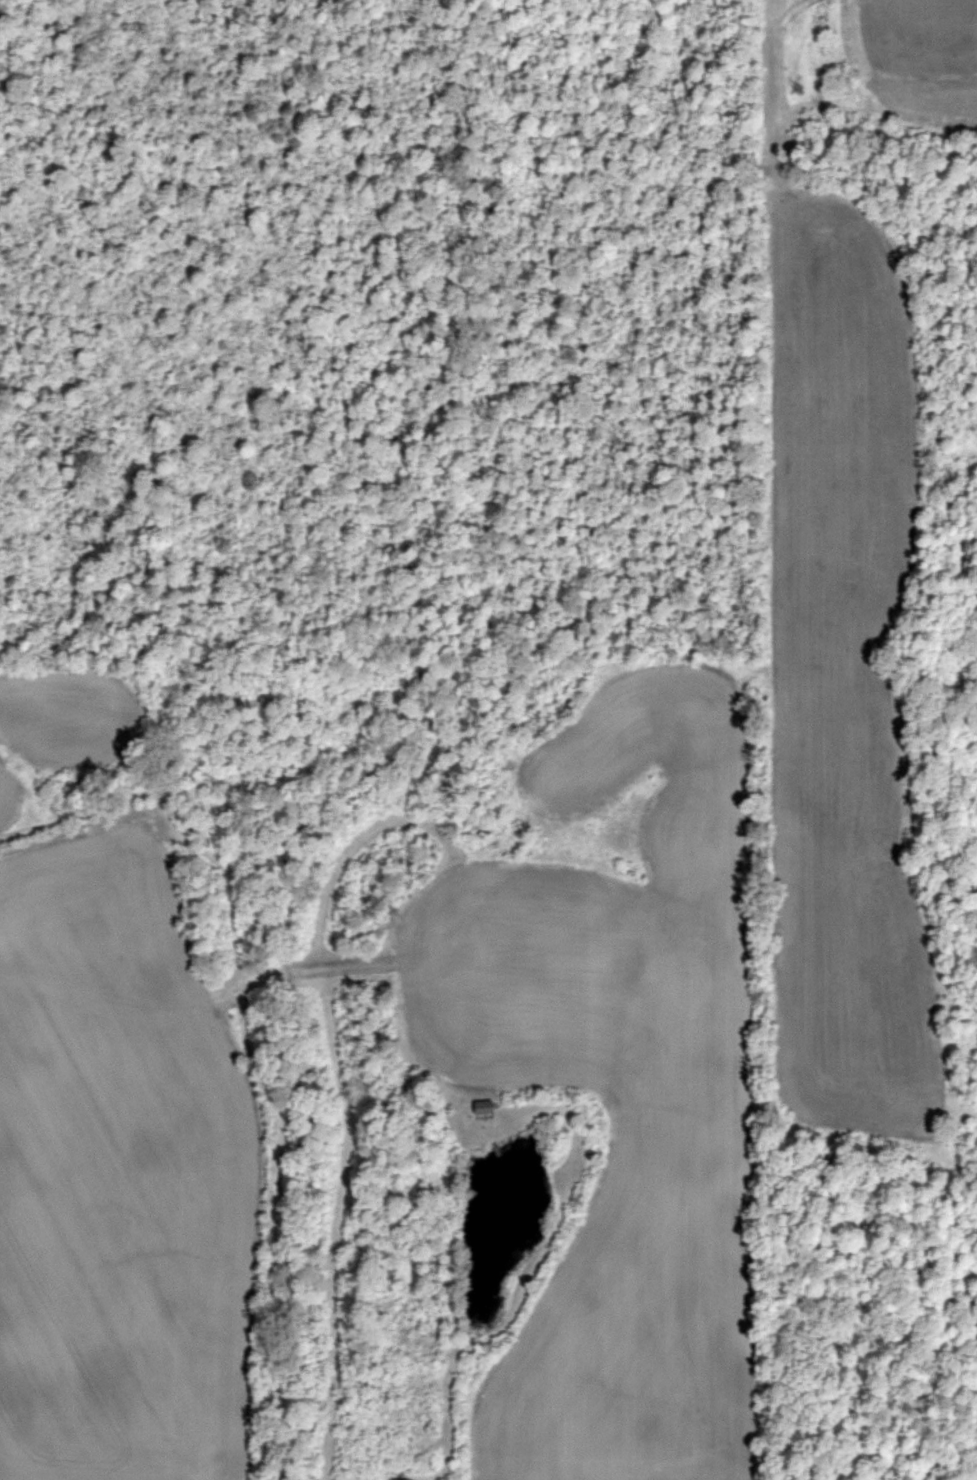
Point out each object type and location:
building: (486, 1107)

